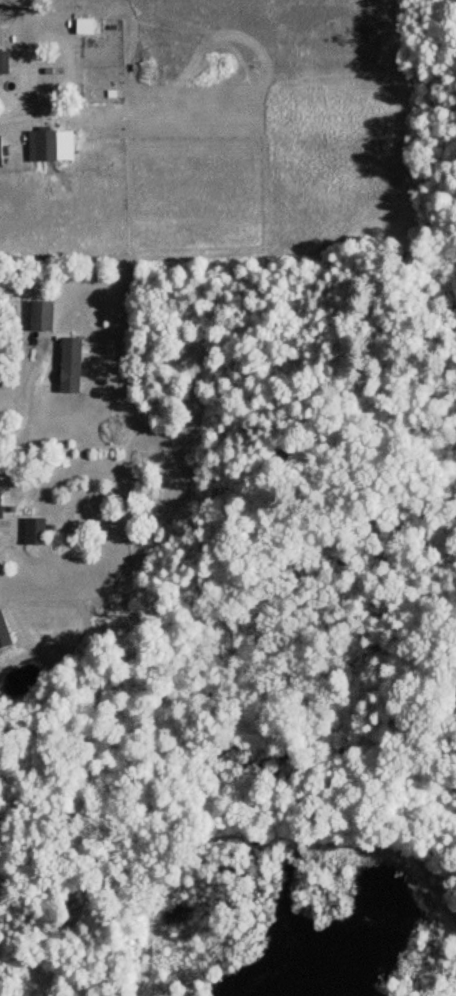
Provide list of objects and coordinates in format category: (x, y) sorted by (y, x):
building: (85, 27)
building: (4, 61)
road: (13, 115)
building: (47, 145)
building: (1, 151)
building: (42, 316)
building: (71, 364)
road: (24, 403)
building: (1, 502)
building: (36, 531)
building: (100, 610)

